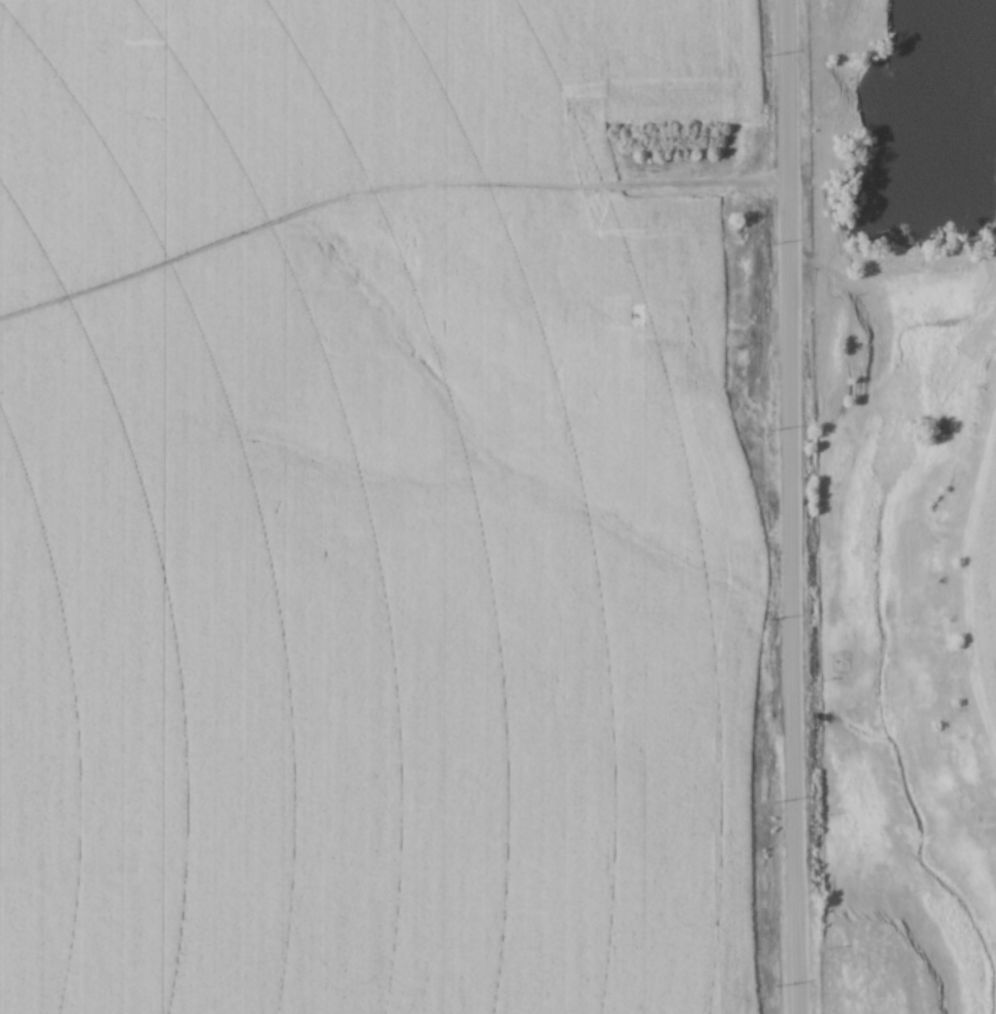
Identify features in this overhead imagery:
road: (793, 507)

